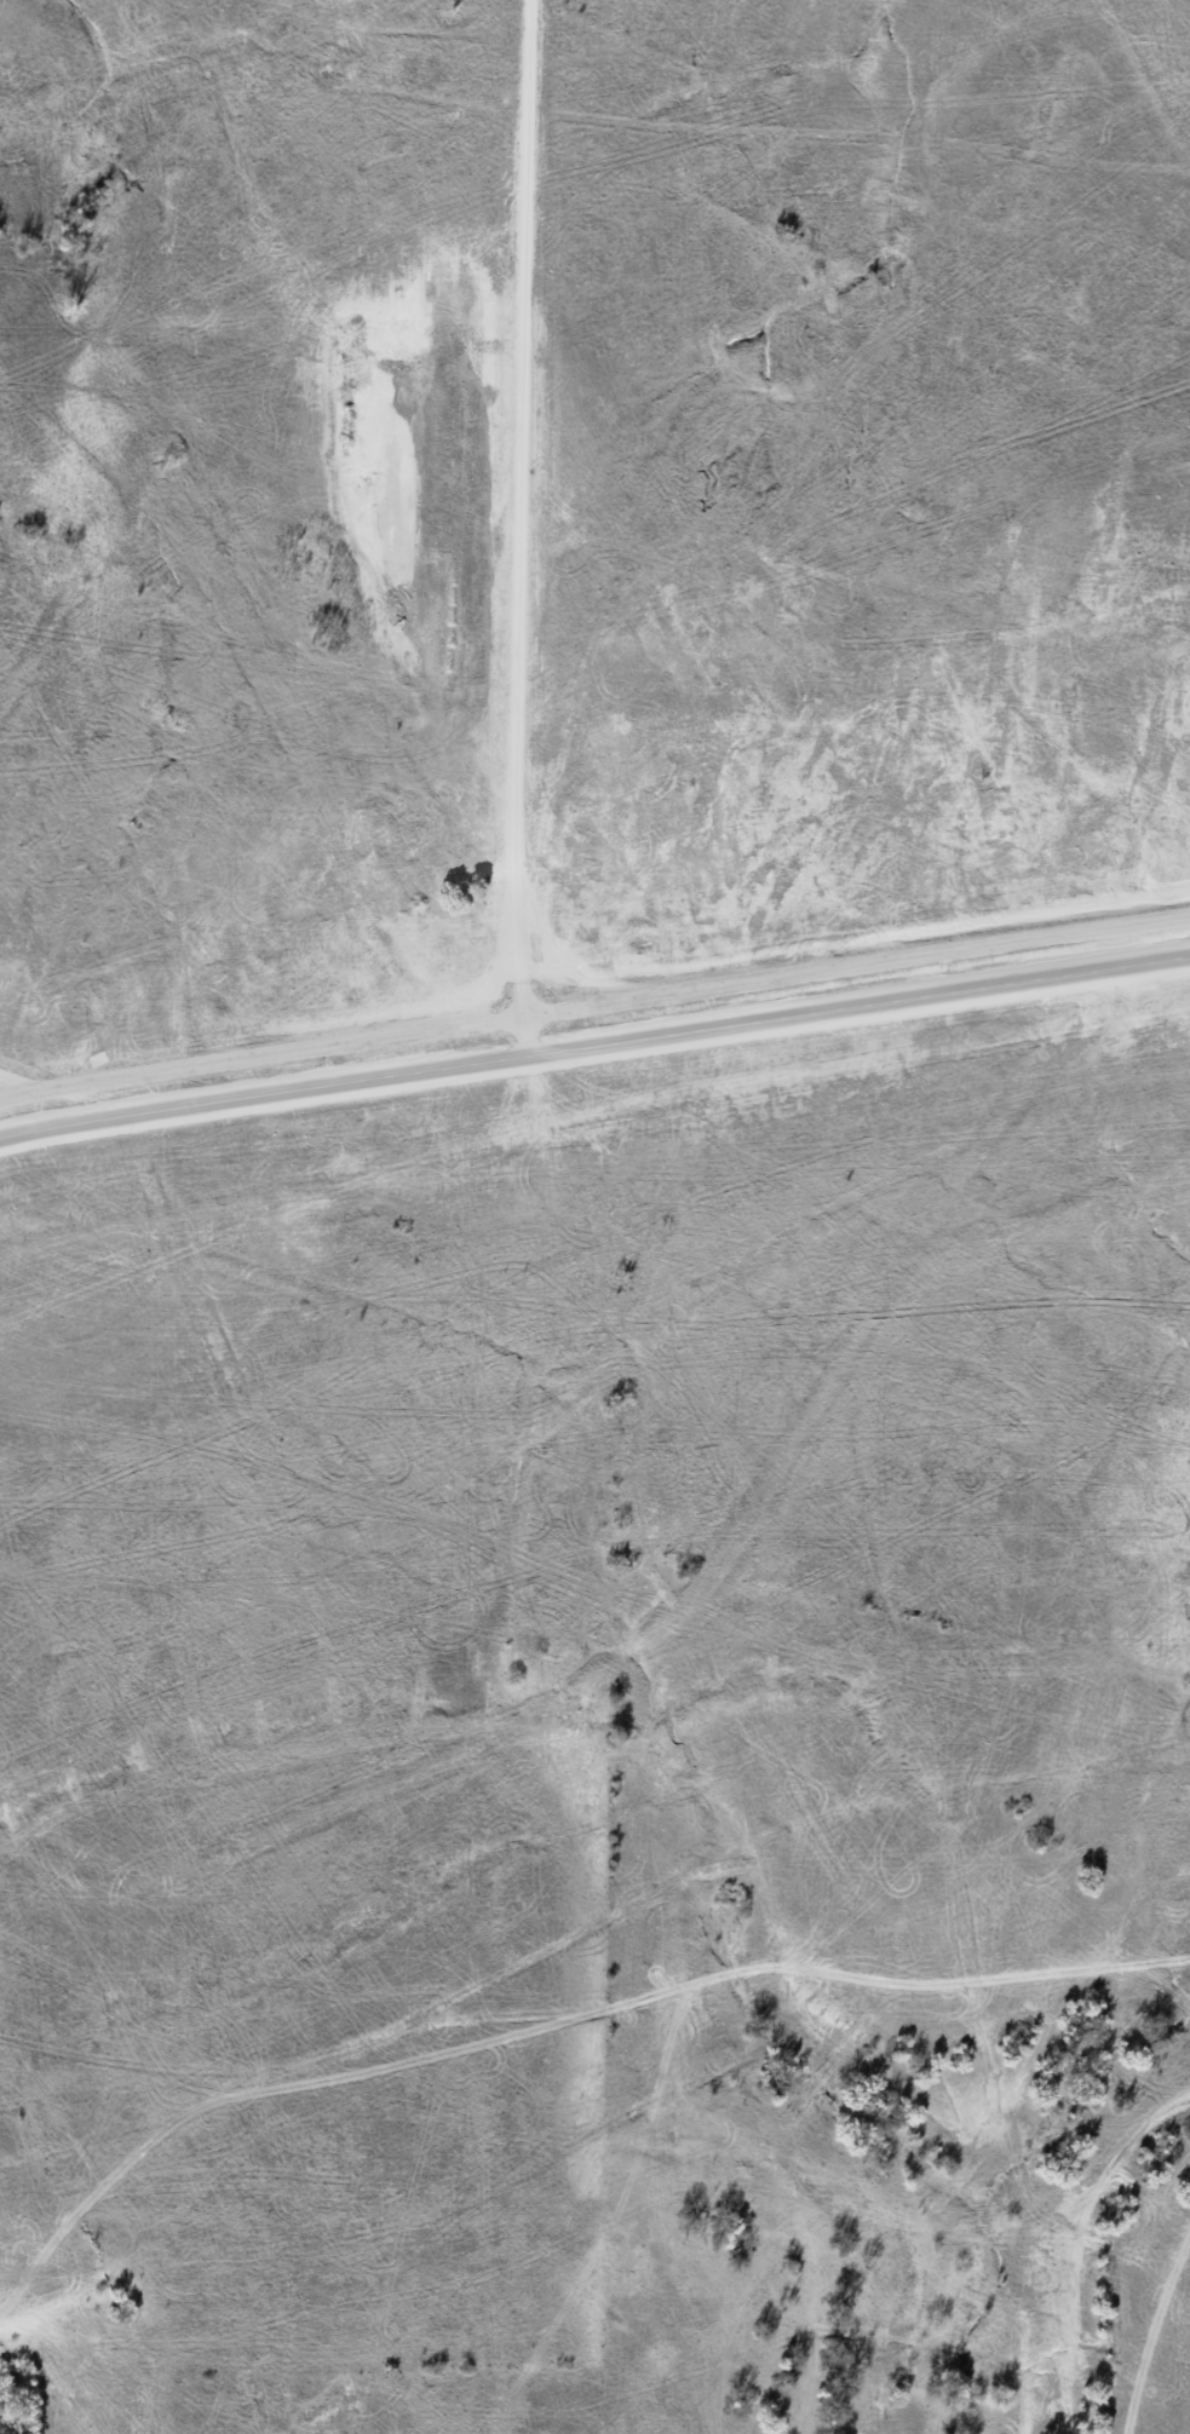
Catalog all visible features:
road: (514, 686)
road: (594, 1003)
road: (594, 1049)
road: (16, 1083)
dam: (5, 2290)

